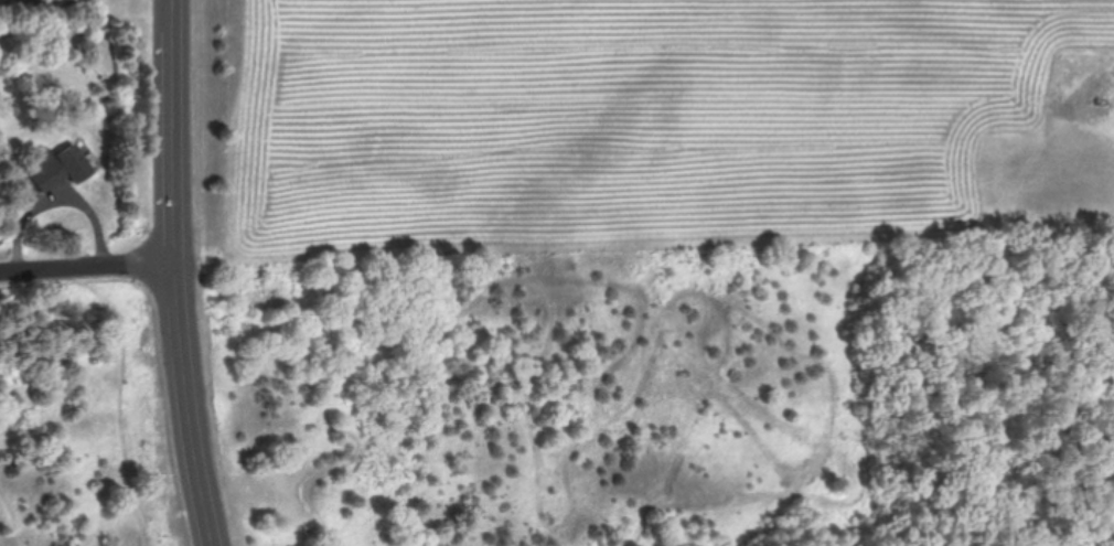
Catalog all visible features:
building: (69, 163)
road: (92, 272)
road: (183, 274)

